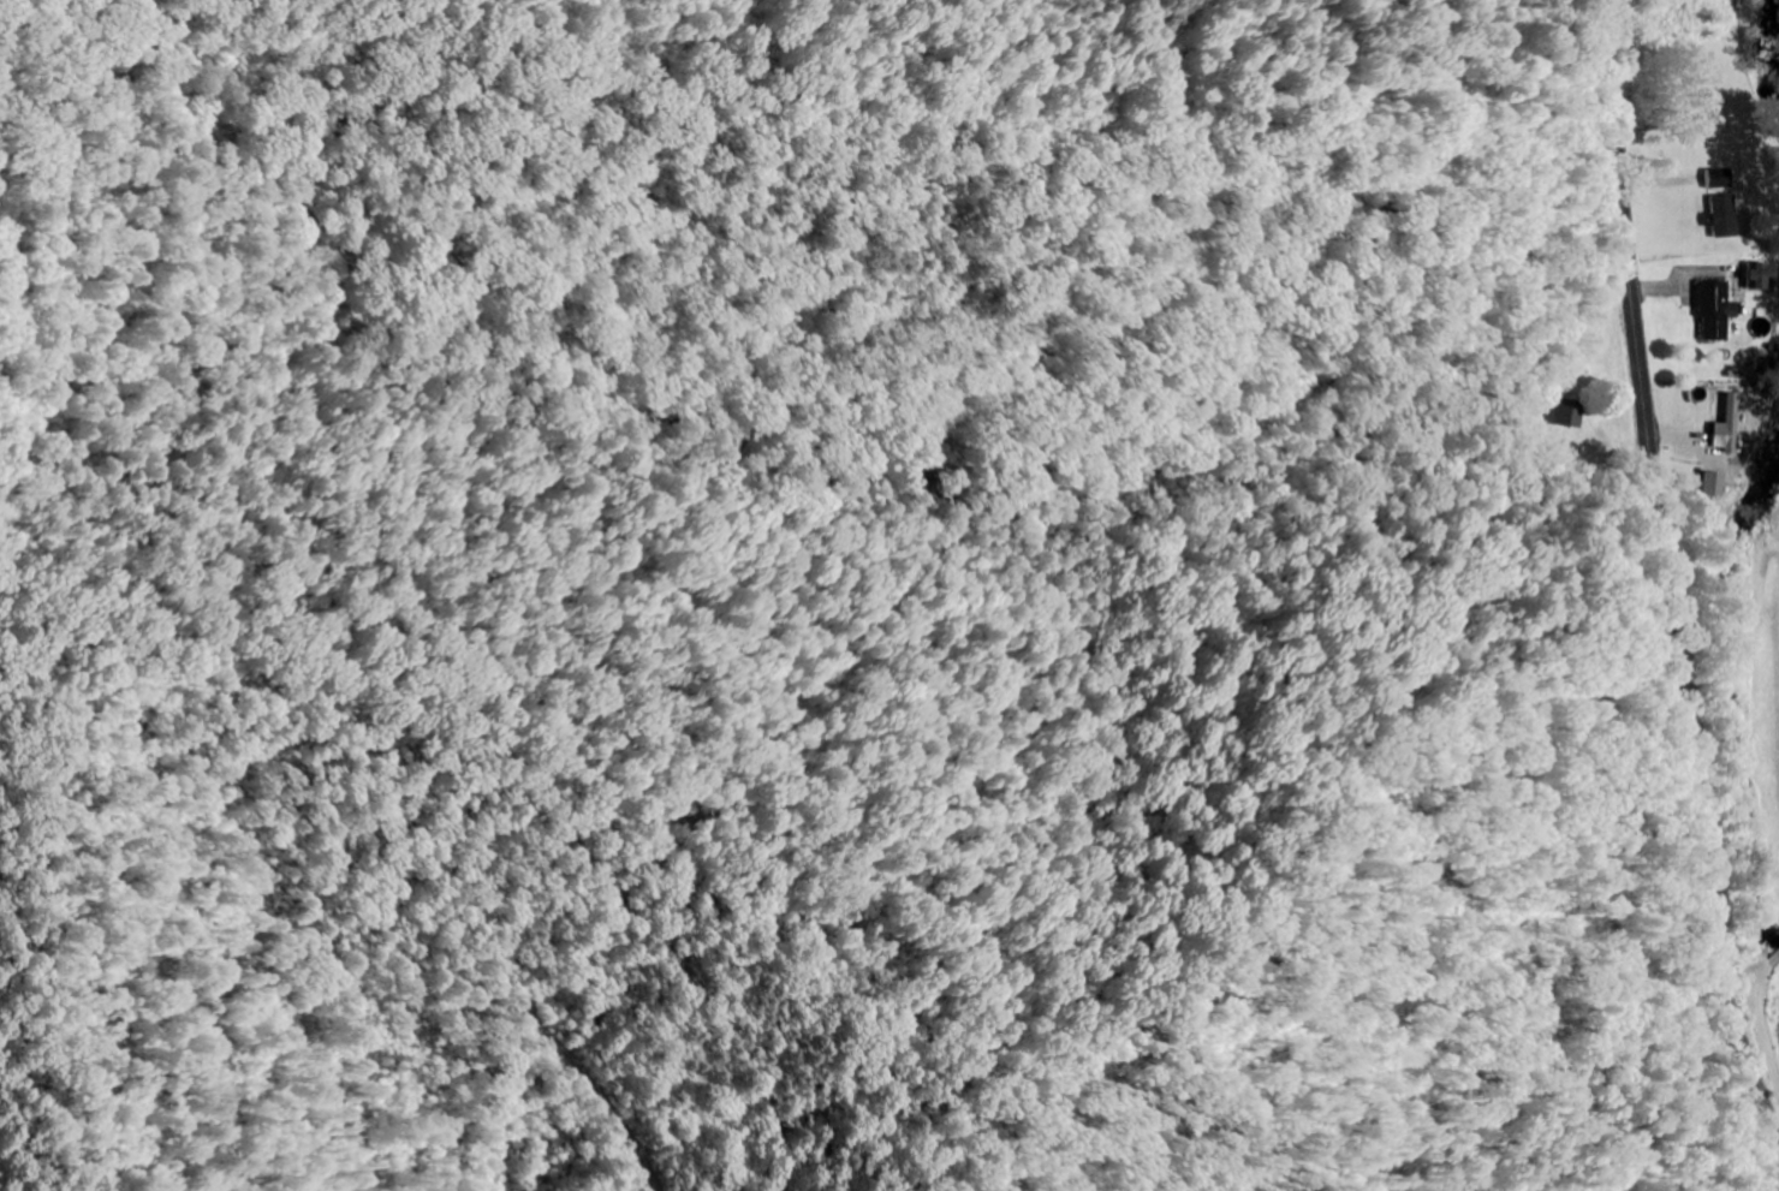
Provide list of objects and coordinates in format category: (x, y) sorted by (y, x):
road: (1689, 31)
building: (1719, 179)
building: (1723, 218)
building: (1757, 278)
building: (1714, 310)
building: (1566, 416)
road: (1667, 580)
road: (1766, 1013)

